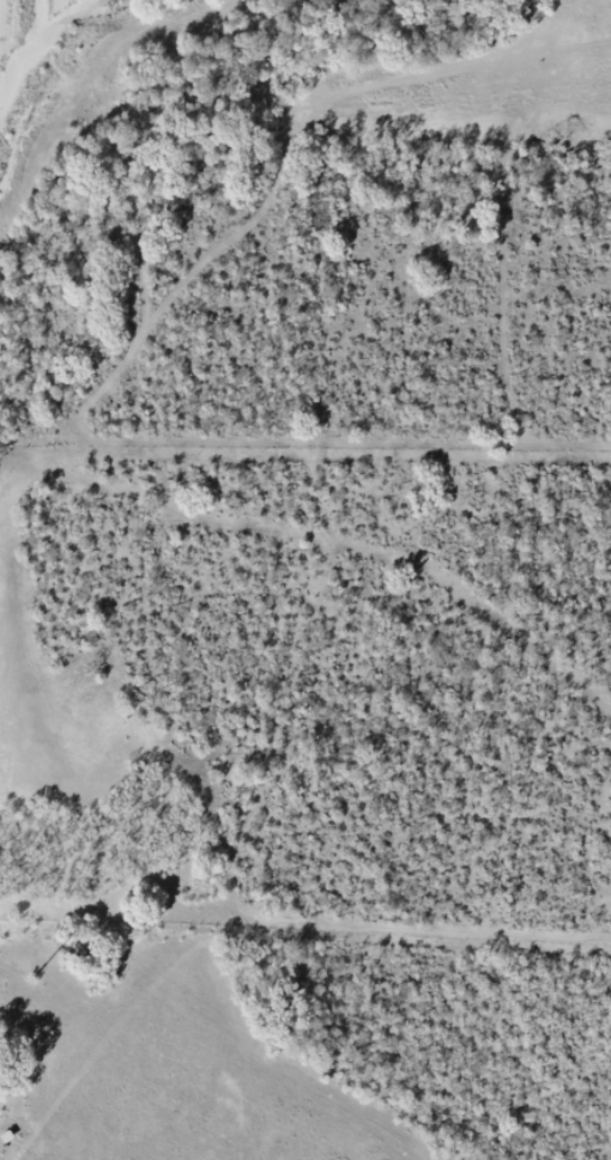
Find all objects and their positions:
power tower: (35, 978)

